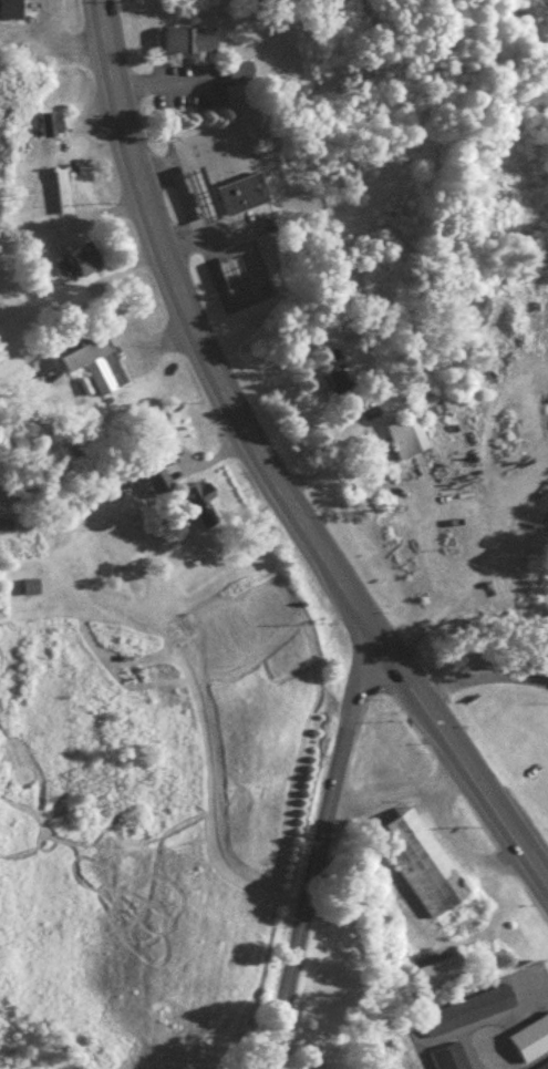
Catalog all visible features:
building: (8, 7)
road: (19, 29)
building: (182, 38)
road: (52, 44)
building: (229, 66)
road: (159, 84)
road: (198, 156)
building: (58, 187)
building: (196, 191)
building: (236, 191)
building: (64, 196)
road: (186, 204)
road: (230, 228)
building: (75, 257)
building: (227, 274)
road: (250, 294)
building: (93, 362)
building: (411, 442)
road: (322, 453)
road: (261, 472)
building: (163, 481)
road: (483, 512)
building: (84, 561)
road: (484, 681)
road: (404, 782)
road: (464, 845)
road: (319, 852)
building: (425, 870)
building: (443, 977)
building: (469, 1016)
building: (530, 1045)
building: (451, 1060)

